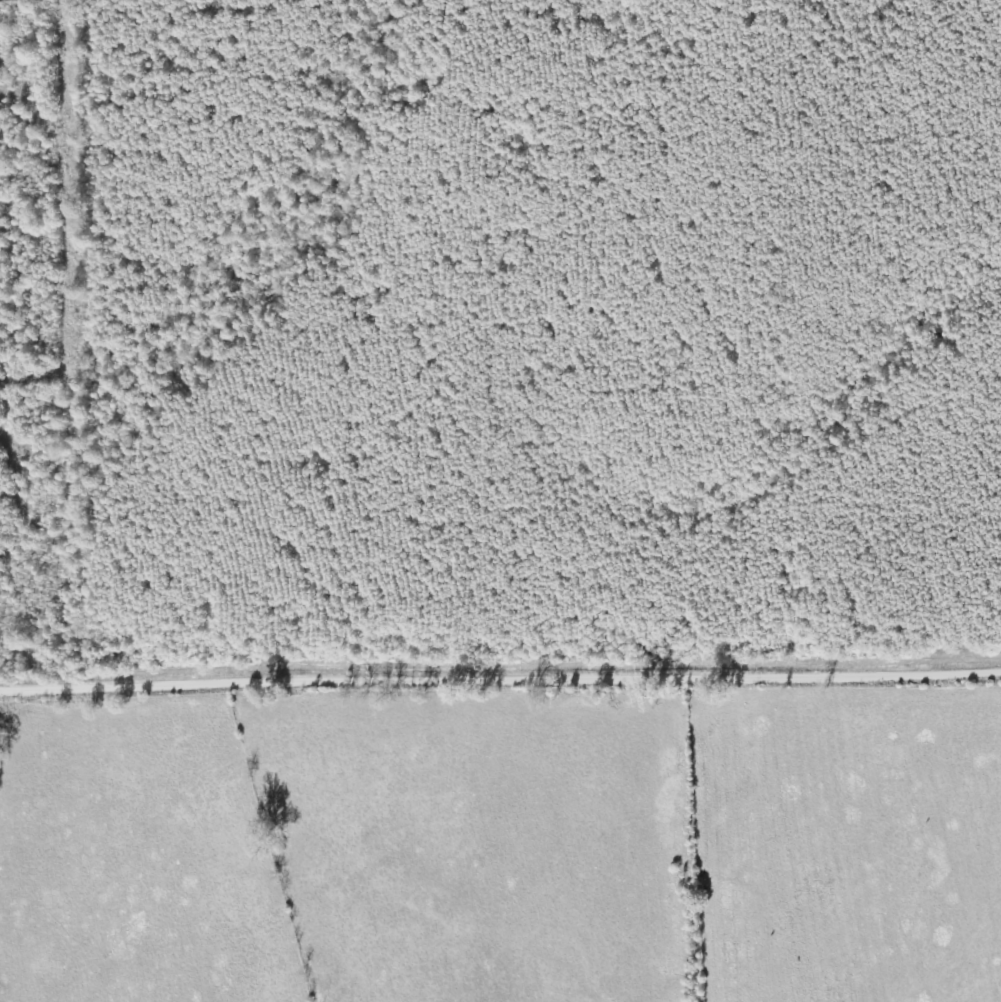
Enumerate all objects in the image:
road: (500, 693)

